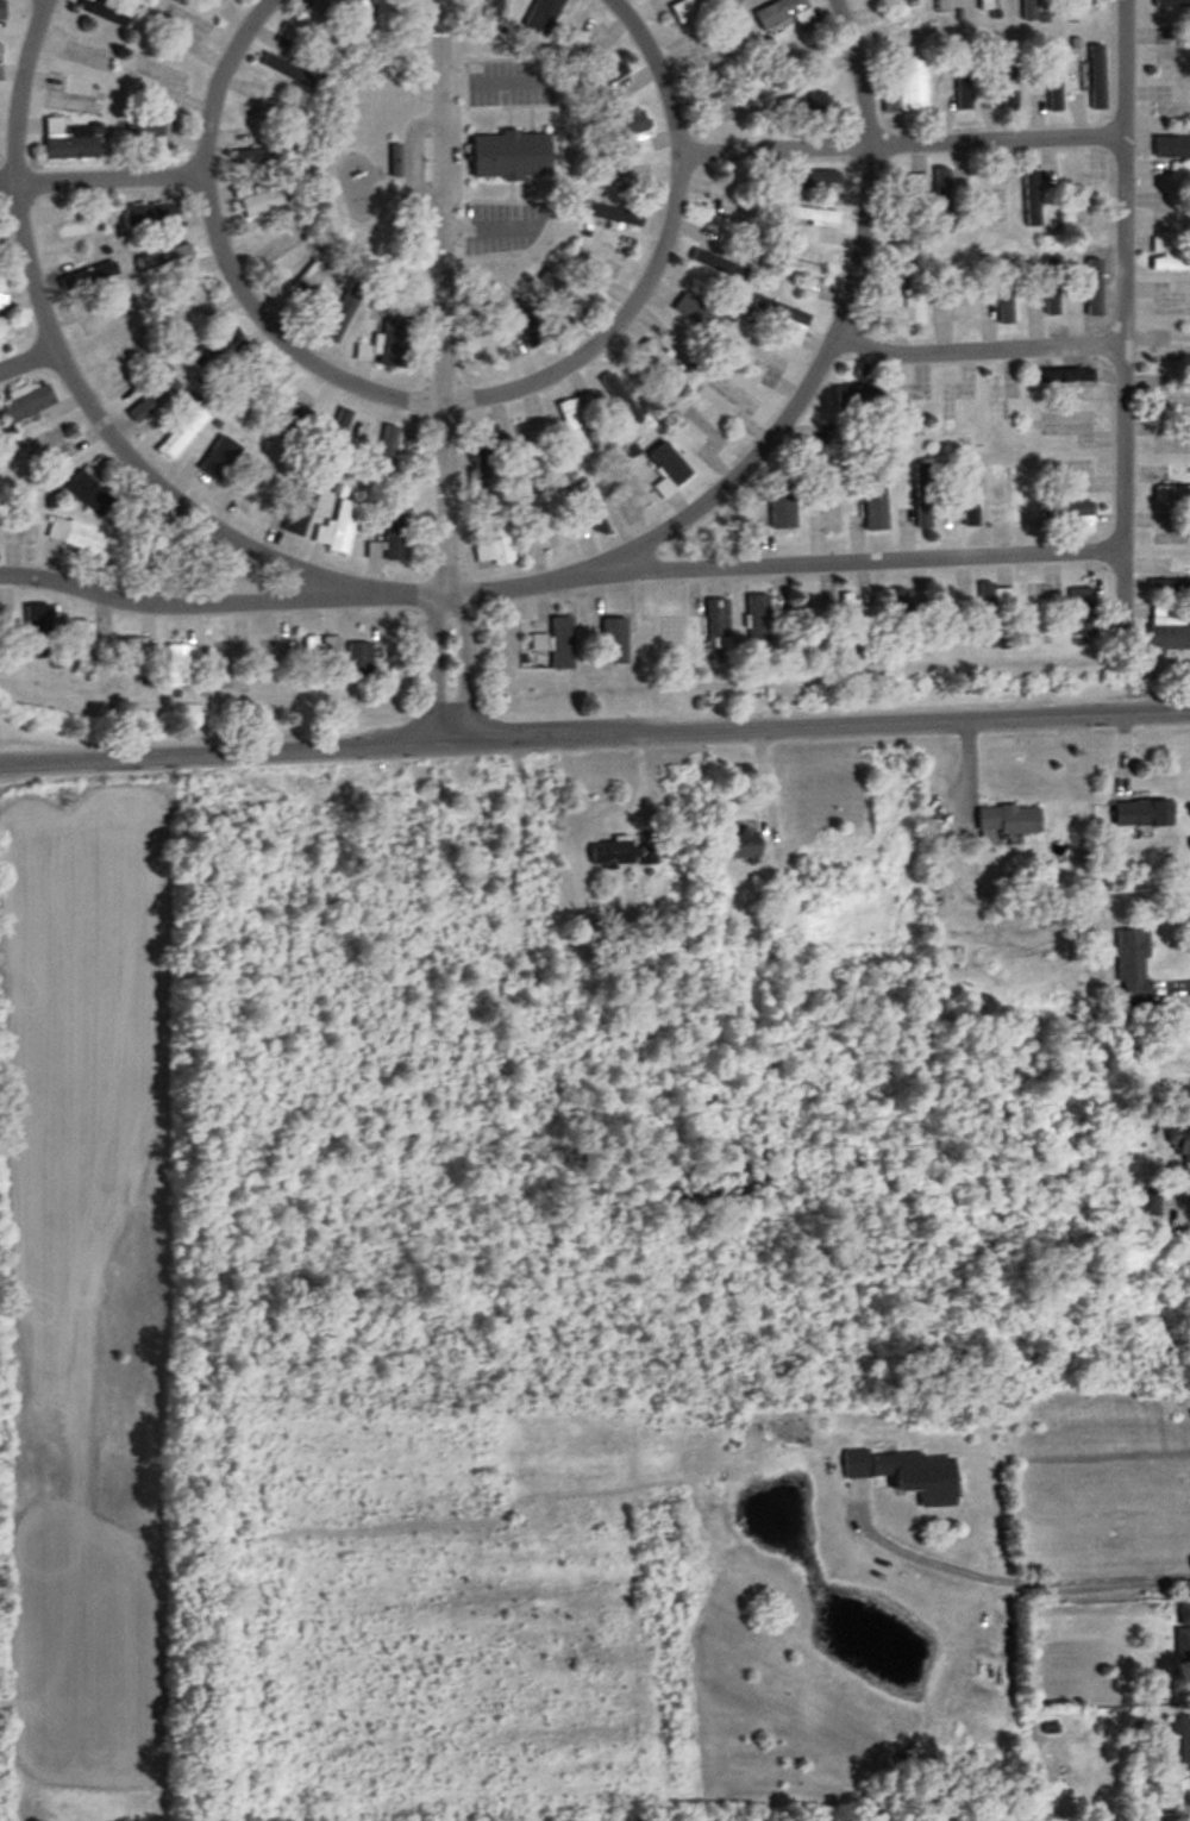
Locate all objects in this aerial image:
building: (984, 5)
building: (1077, 5)
building: (941, 6)
building: (693, 7)
building: (1, 10)
building: (1028, 10)
building: (106, 12)
building: (785, 14)
building: (363, 15)
building: (543, 15)
building: (319, 27)
building: (0, 51)
building: (0, 73)
building: (1097, 77)
building: (601, 82)
building: (55, 87)
building: (909, 89)
building: (1054, 89)
building: (256, 102)
building: (803, 107)
building: (631, 132)
building: (69, 142)
road: (898, 142)
building: (1172, 148)
building: (263, 152)
building: (511, 157)
building: (395, 162)
road: (99, 176)
building: (813, 177)
building: (258, 200)
building: (944, 200)
building: (904, 201)
building: (1081, 204)
building: (808, 215)
building: (154, 217)
building: (79, 230)
building: (1167, 257)
building: (718, 258)
building: (170, 262)
building: (803, 268)
building: (83, 273)
road: (1117, 274)
building: (301, 286)
building: (2, 292)
road: (441, 294)
building: (564, 295)
building: (910, 301)
building: (1006, 302)
building: (693, 306)
building: (344, 313)
building: (783, 319)
building: (524, 327)
building: (2, 328)
building: (227, 345)
building: (388, 345)
road: (973, 346)
building: (1171, 355)
road: (24, 358)
building: (120, 359)
building: (664, 363)
building: (1065, 375)
road: (795, 396)
building: (856, 398)
building: (155, 400)
road: (439, 400)
building: (621, 400)
road: (87, 402)
building: (29, 403)
building: (292, 417)
building: (575, 421)
building: (183, 433)
building: (336, 436)
building: (527, 442)
building: (394, 444)
building: (48, 448)
building: (843, 452)
building: (483, 463)
building: (218, 464)
building: (669, 470)
building: (632, 483)
building: (1172, 492)
building: (89, 493)
building: (249, 496)
building: (922, 496)
building: (970, 499)
building: (1010, 502)
building: (875, 505)
building: (589, 506)
building: (779, 513)
building: (1071, 513)
building: (24, 524)
building: (501, 525)
building: (544, 525)
building: (339, 528)
building: (581, 531)
building: (395, 534)
building: (86, 542)
building: (372, 551)
road: (785, 568)
building: (1170, 584)
road: (220, 601)
building: (1032, 606)
building: (992, 609)
building: (1082, 612)
building: (948, 614)
building: (848, 617)
building: (759, 620)
building: (898, 620)
building: (716, 624)
building: (666, 627)
building: (1167, 628)
building: (39, 631)
building: (614, 637)
building: (539, 643)
building: (562, 643)
building: (84, 646)
building: (131, 656)
building: (270, 657)
building: (318, 657)
building: (359, 659)
road: (459, 662)
building: (228, 663)
road: (437, 663)
building: (177, 665)
road: (594, 734)
building: (1141, 813)
building: (1008, 820)
building: (744, 843)
building: (620, 853)
building: (1130, 959)
road: (1179, 980)
building: (1180, 1144)
road: (1176, 1199)
building: (1147, 1208)
building: (908, 1473)
road: (1022, 1576)
building: (1183, 1629)
building: (1184, 1746)

